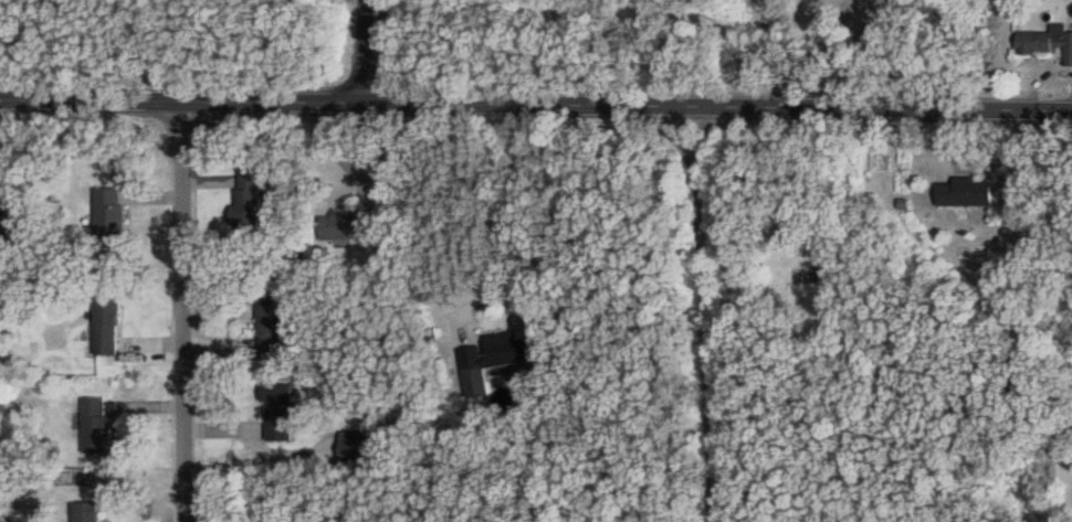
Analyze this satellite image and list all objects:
road: (833, 25)
road: (858, 34)
building: (1048, 40)
road: (213, 50)
road: (360, 50)
road: (563, 50)
road: (808, 78)
road: (536, 102)
road: (1043, 150)
building: (966, 191)
building: (249, 198)
building: (109, 216)
road: (509, 216)
building: (13, 217)
building: (348, 223)
road: (183, 311)
road: (702, 312)
building: (270, 322)
building: (108, 324)
building: (507, 349)
building: (280, 412)
building: (97, 424)
building: (85, 511)

